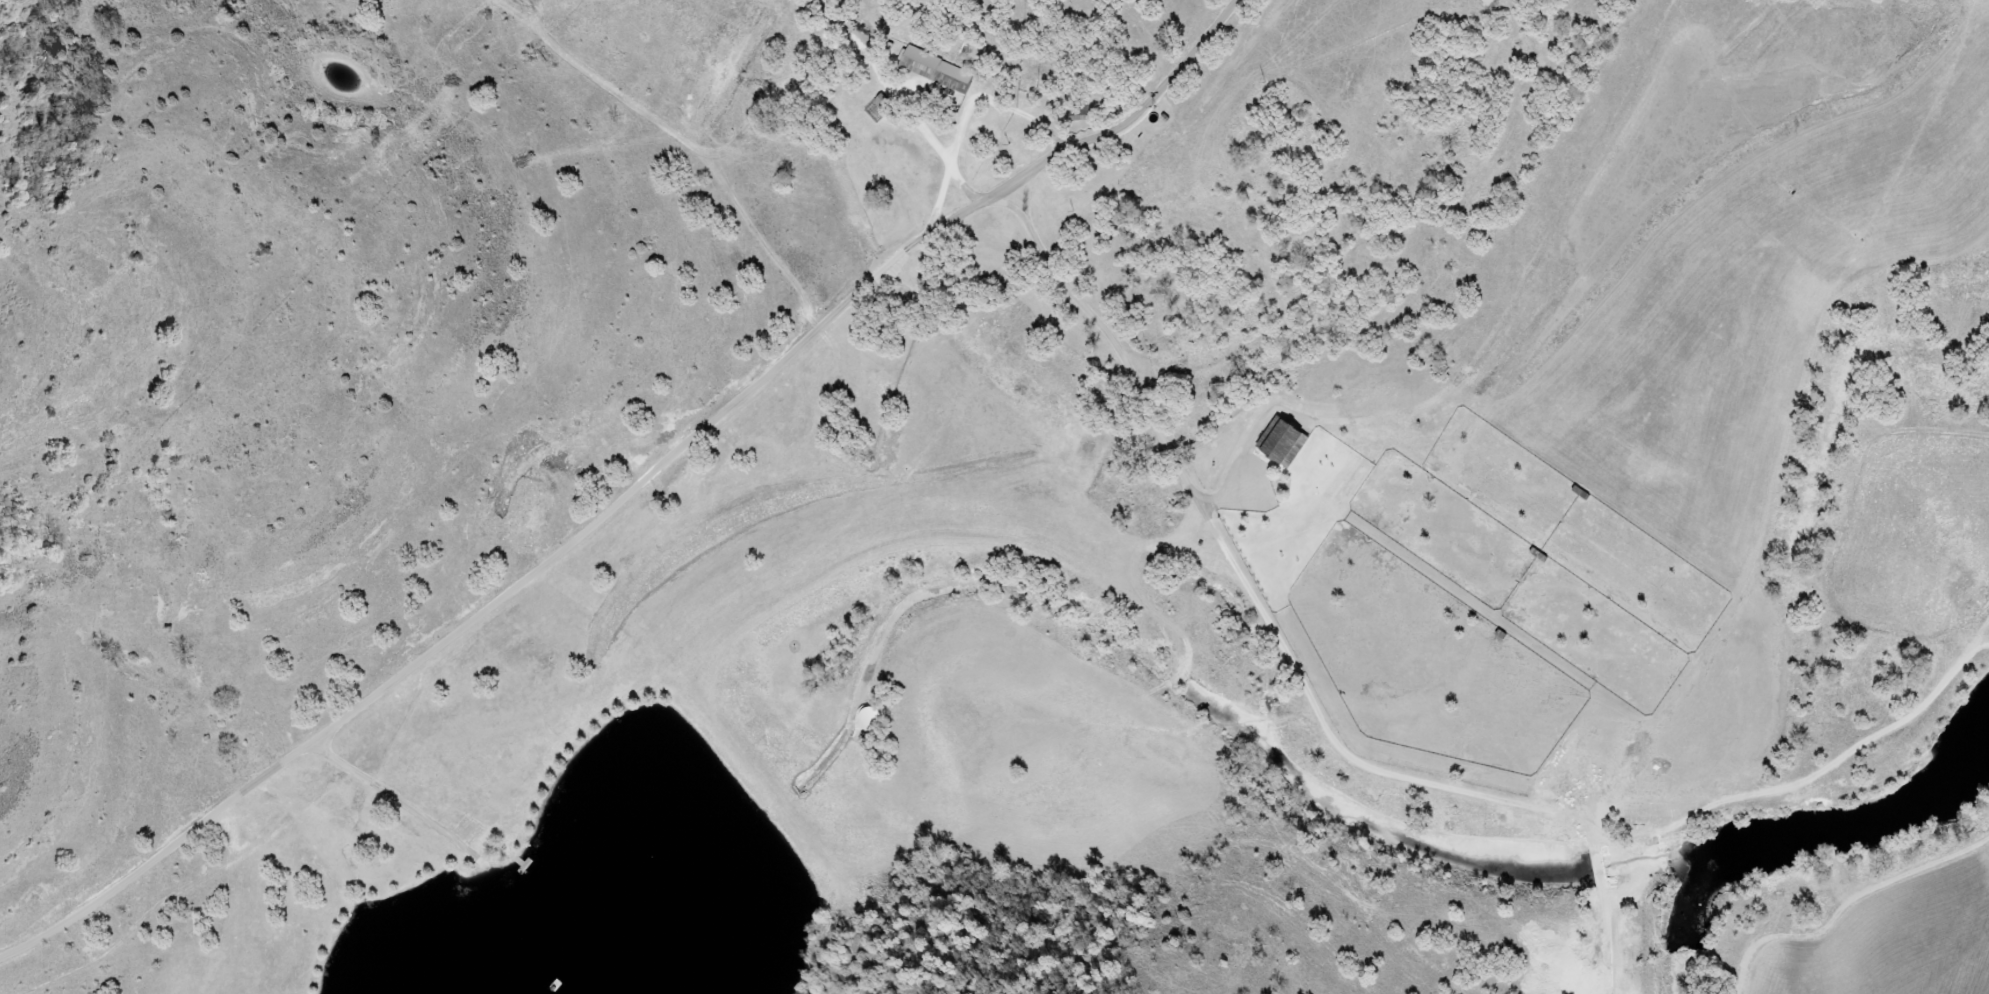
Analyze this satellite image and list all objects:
road: (636, 500)

